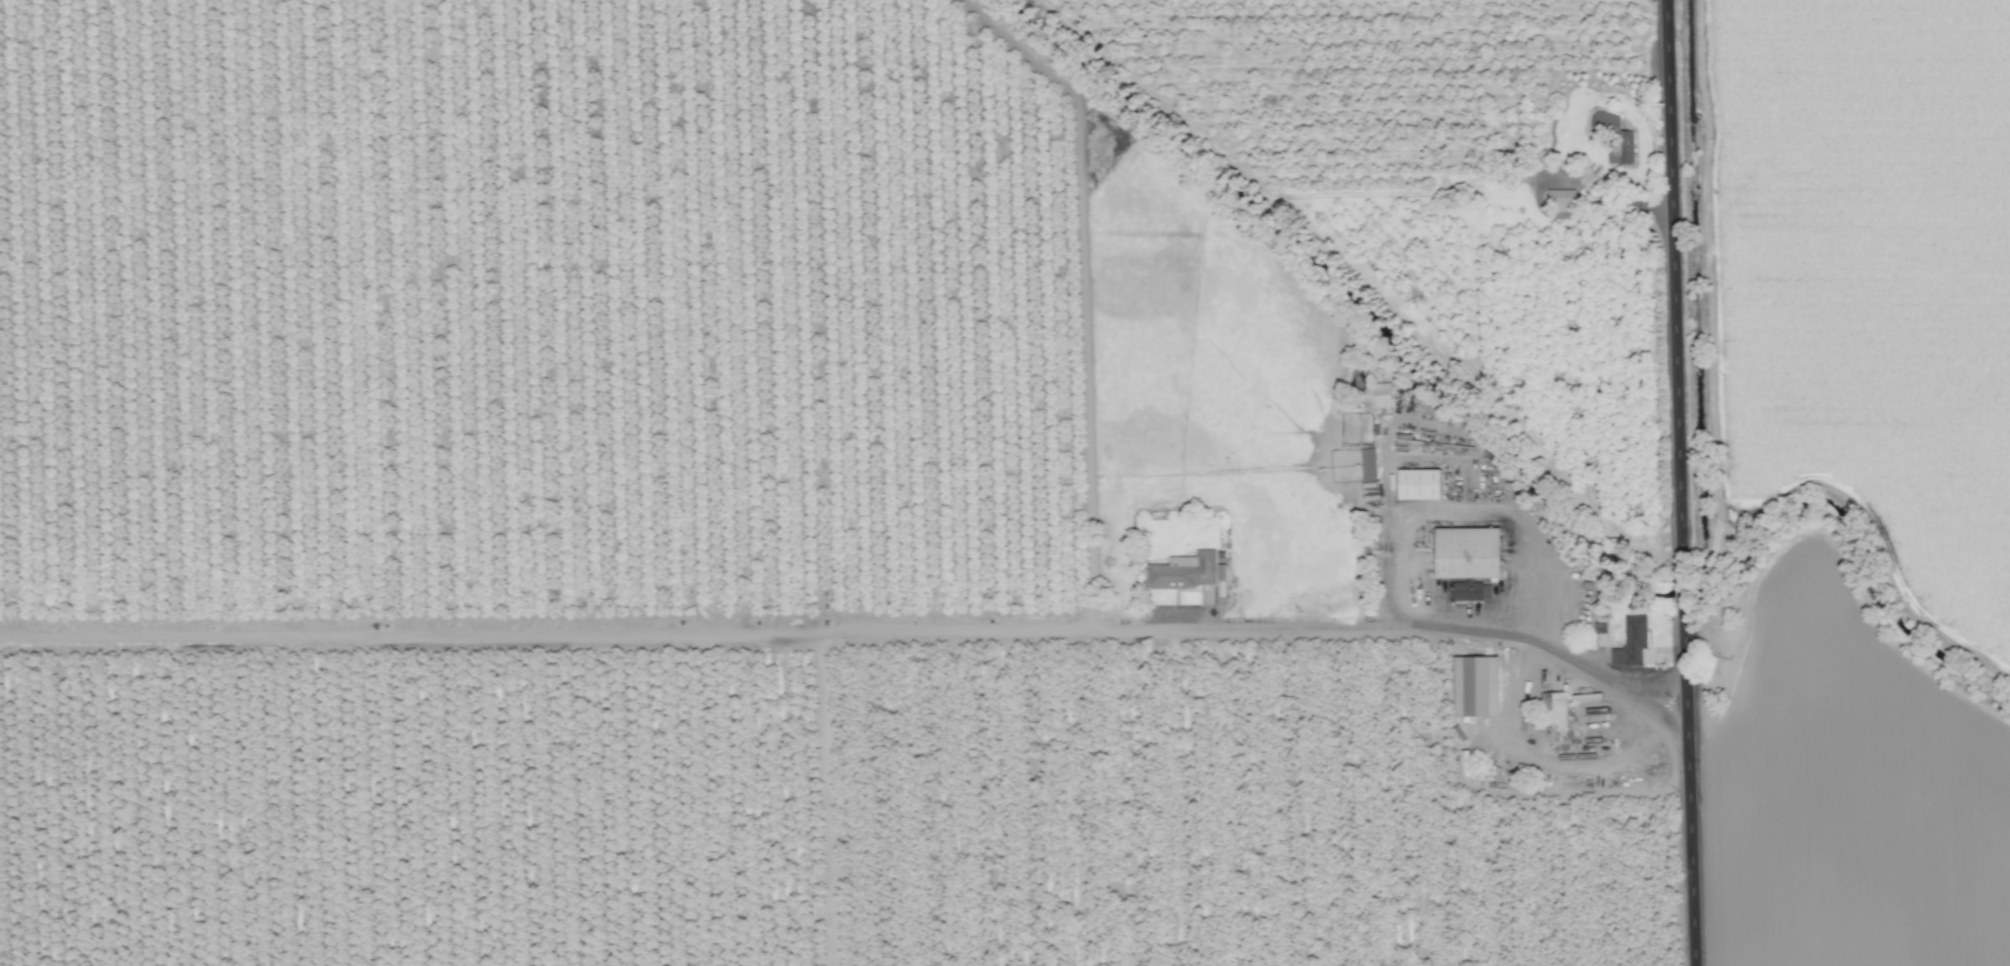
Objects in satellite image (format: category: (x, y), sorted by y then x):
building: (1613, 138)
building: (1560, 200)
road: (1582, 200)
building: (1368, 467)
road: (1677, 483)
building: (1466, 555)
building: (1183, 574)
building: (1466, 594)
road: (1389, 595)
road: (1290, 627)
building: (1634, 644)
building: (1475, 690)
building: (1550, 712)

